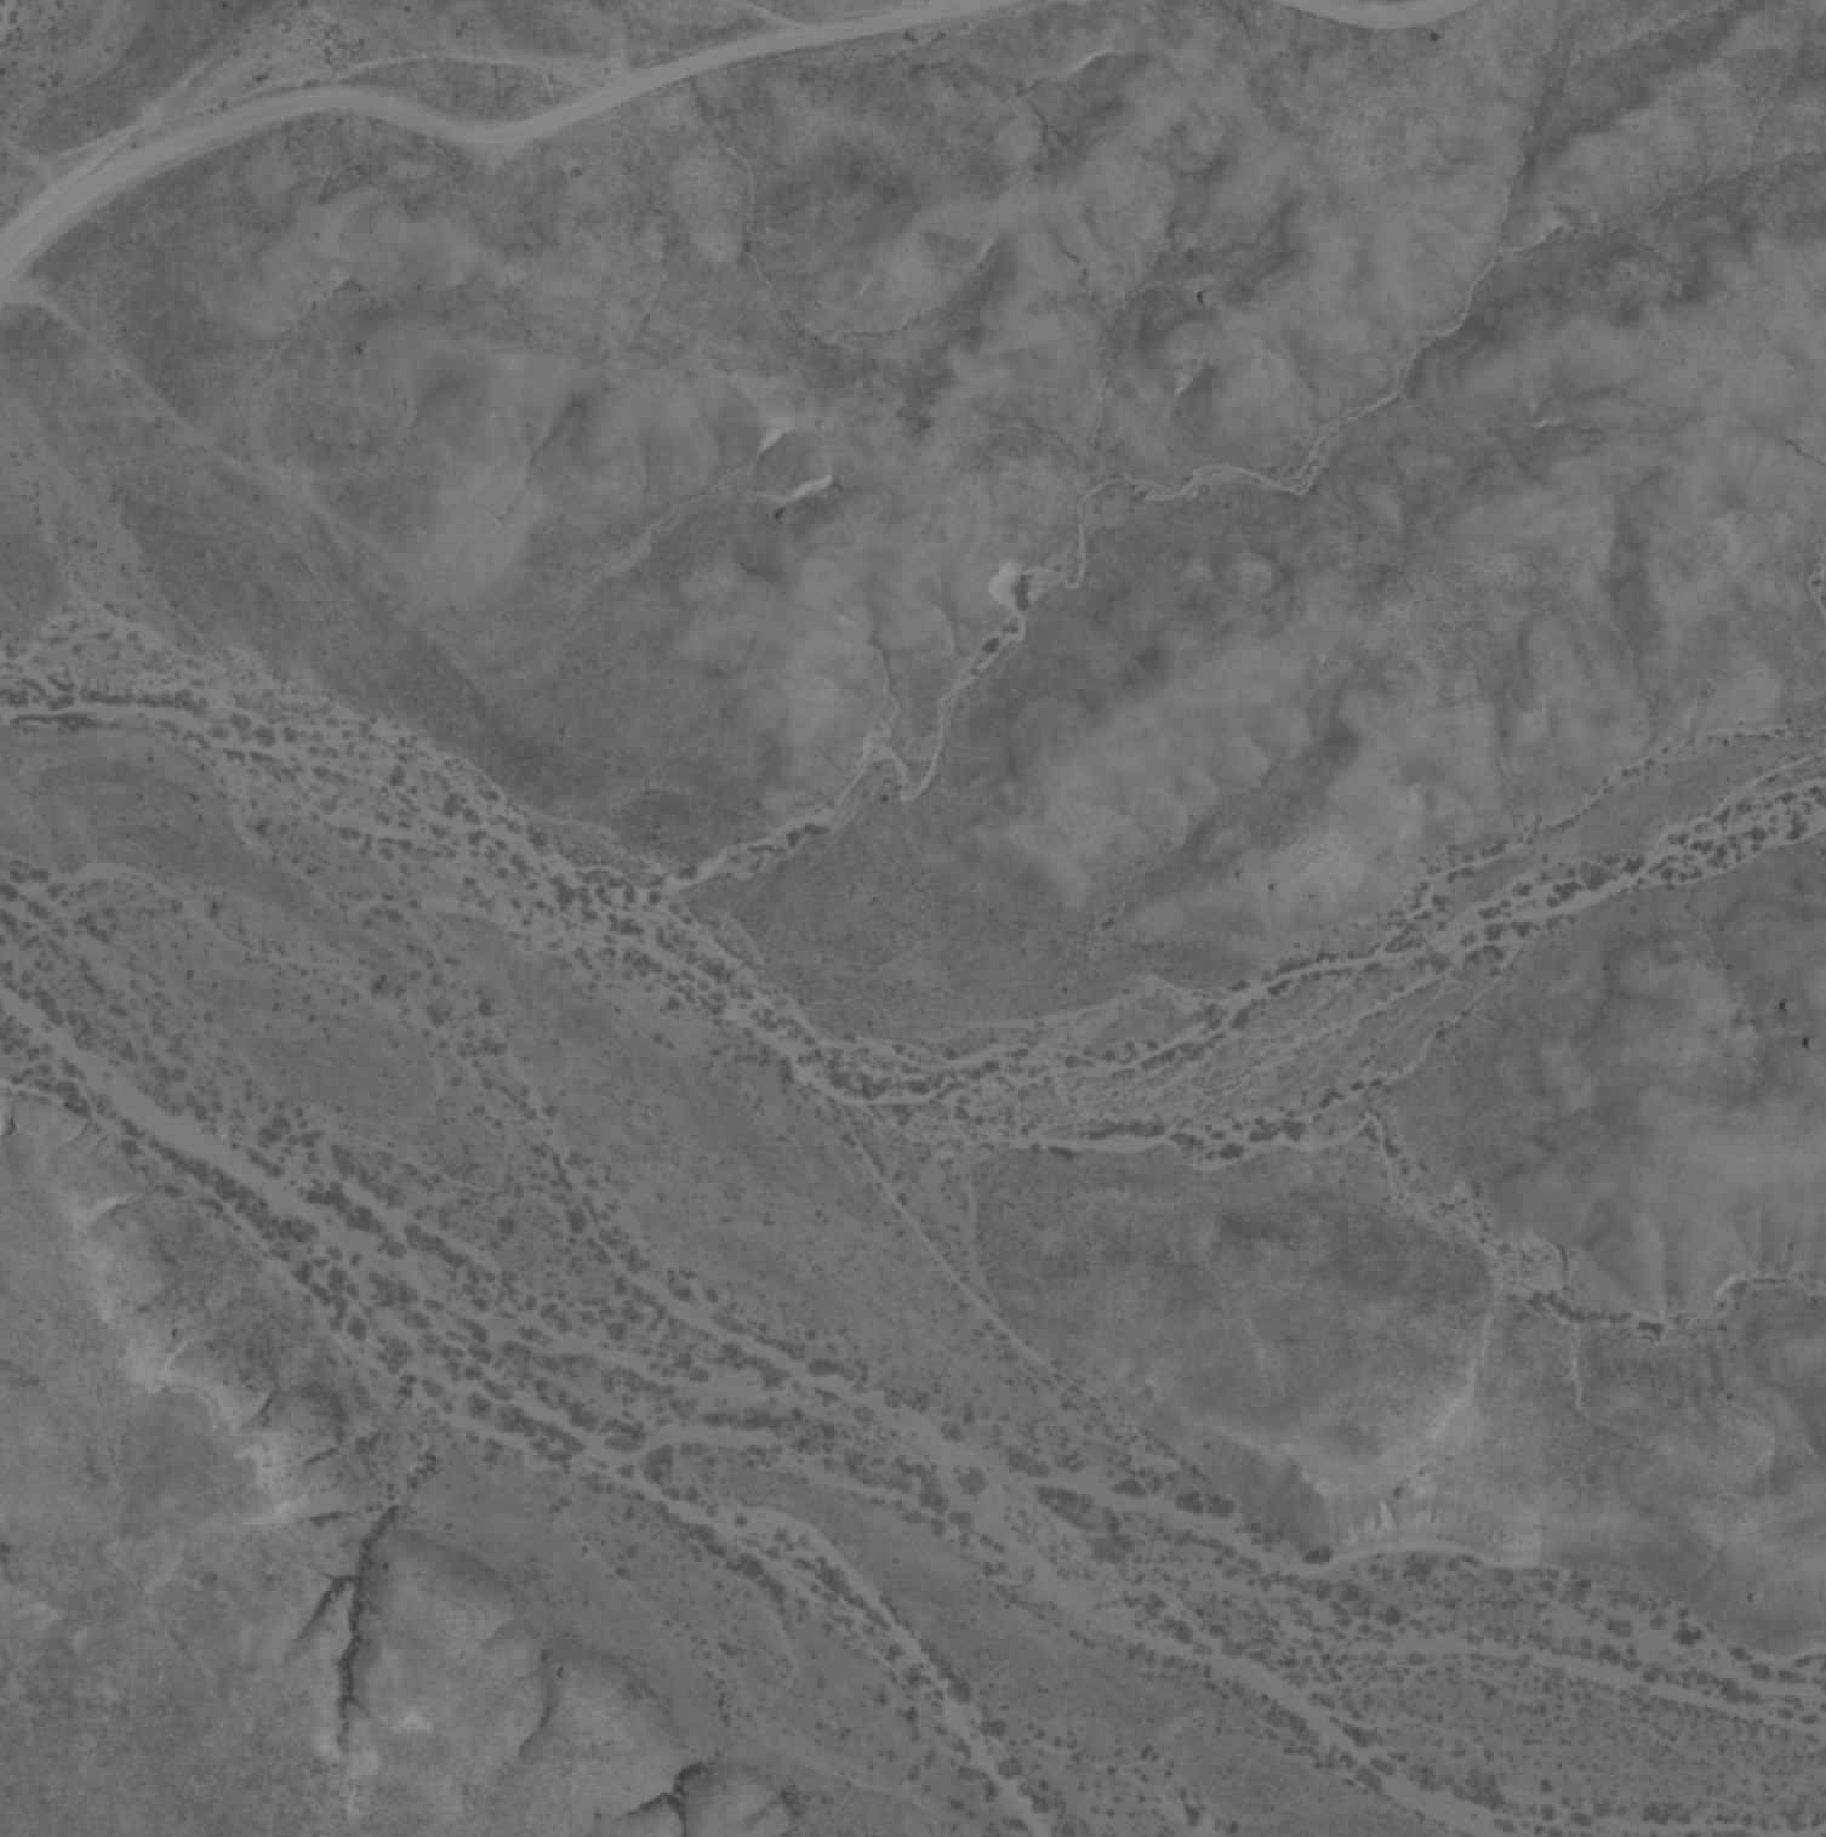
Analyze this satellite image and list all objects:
road: (1375, 18)
road: (470, 129)

